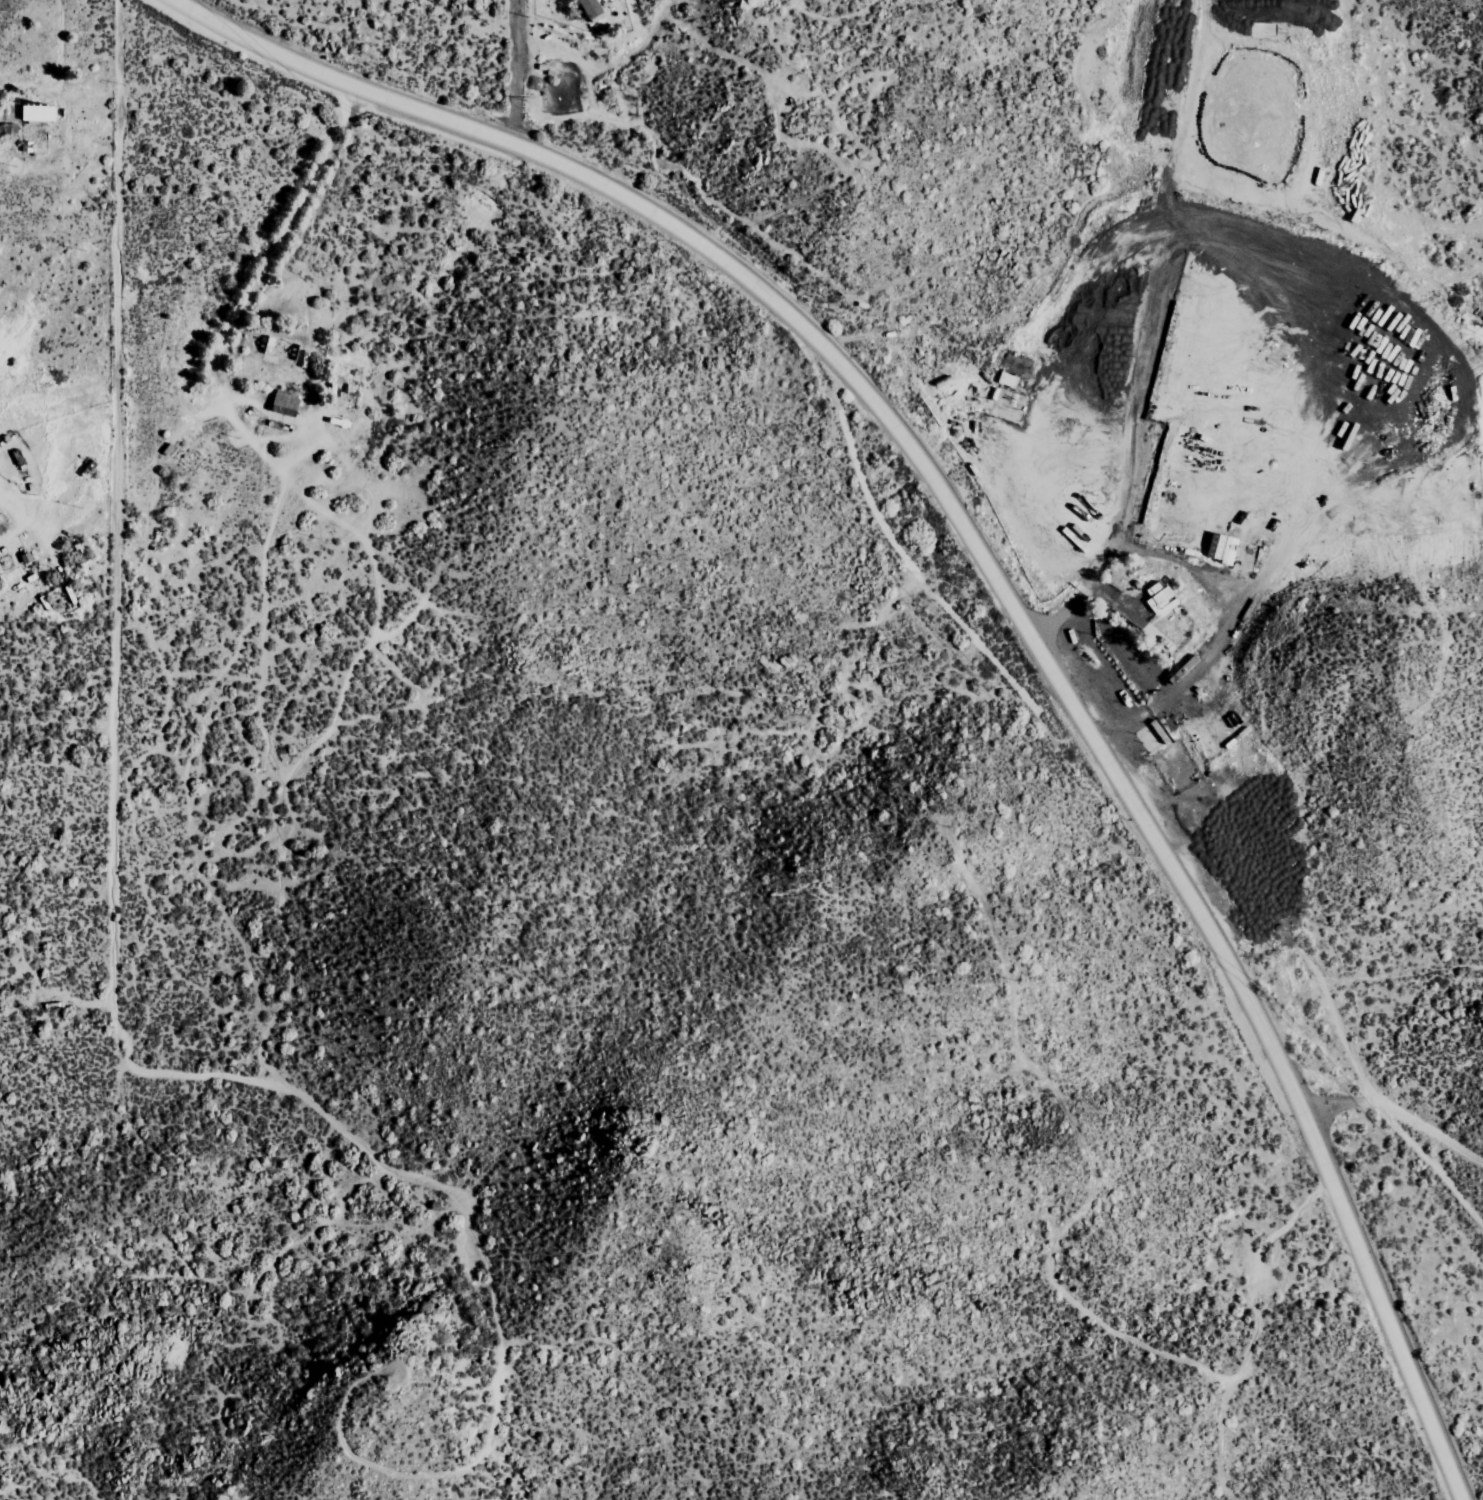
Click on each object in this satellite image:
building: (593, 10)
road: (516, 70)
building: (39, 114)
road: (497, 135)
road: (322, 227)
building: (1011, 400)
building: (286, 403)
building: (1, 530)
building: (1223, 548)
building: (1161, 597)
road: (1051, 670)
road: (1015, 692)
building: (1169, 750)
road: (597, 861)
road: (1396, 1114)
road: (1372, 1280)

